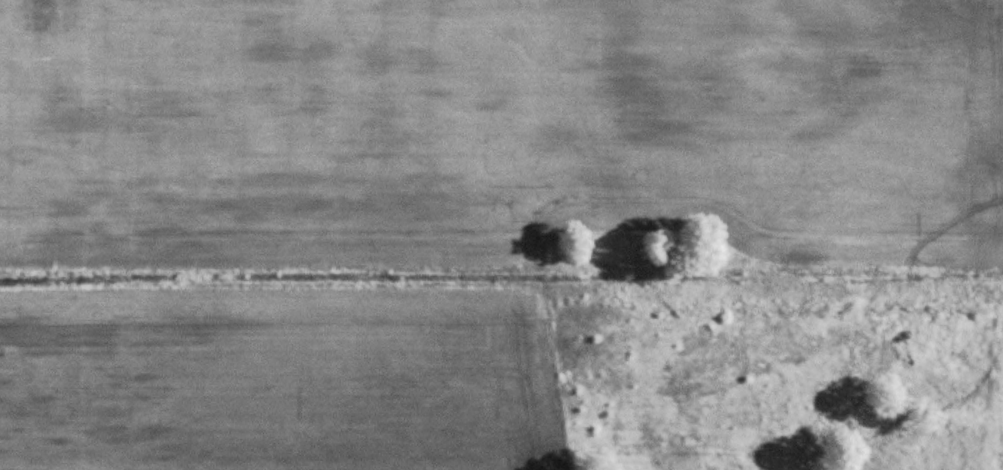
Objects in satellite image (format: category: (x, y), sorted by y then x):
road: (711, 397)

